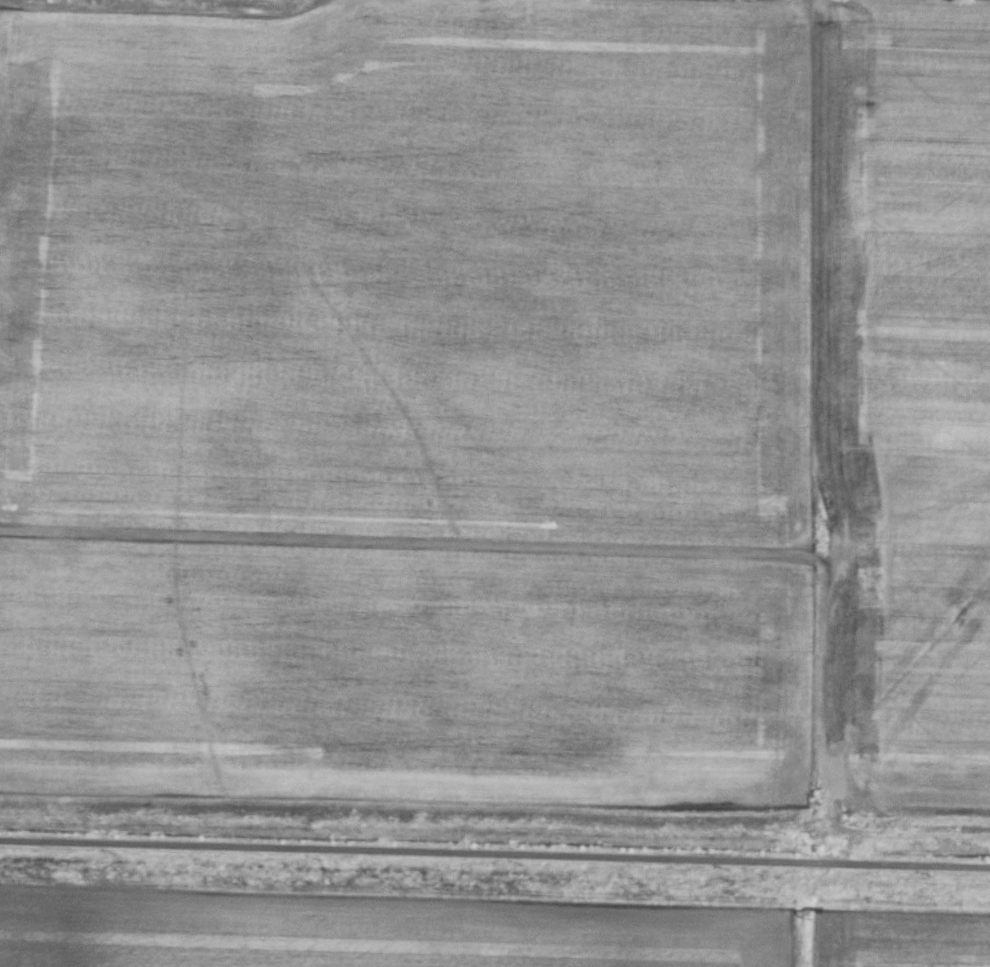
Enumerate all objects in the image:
road: (495, 851)

